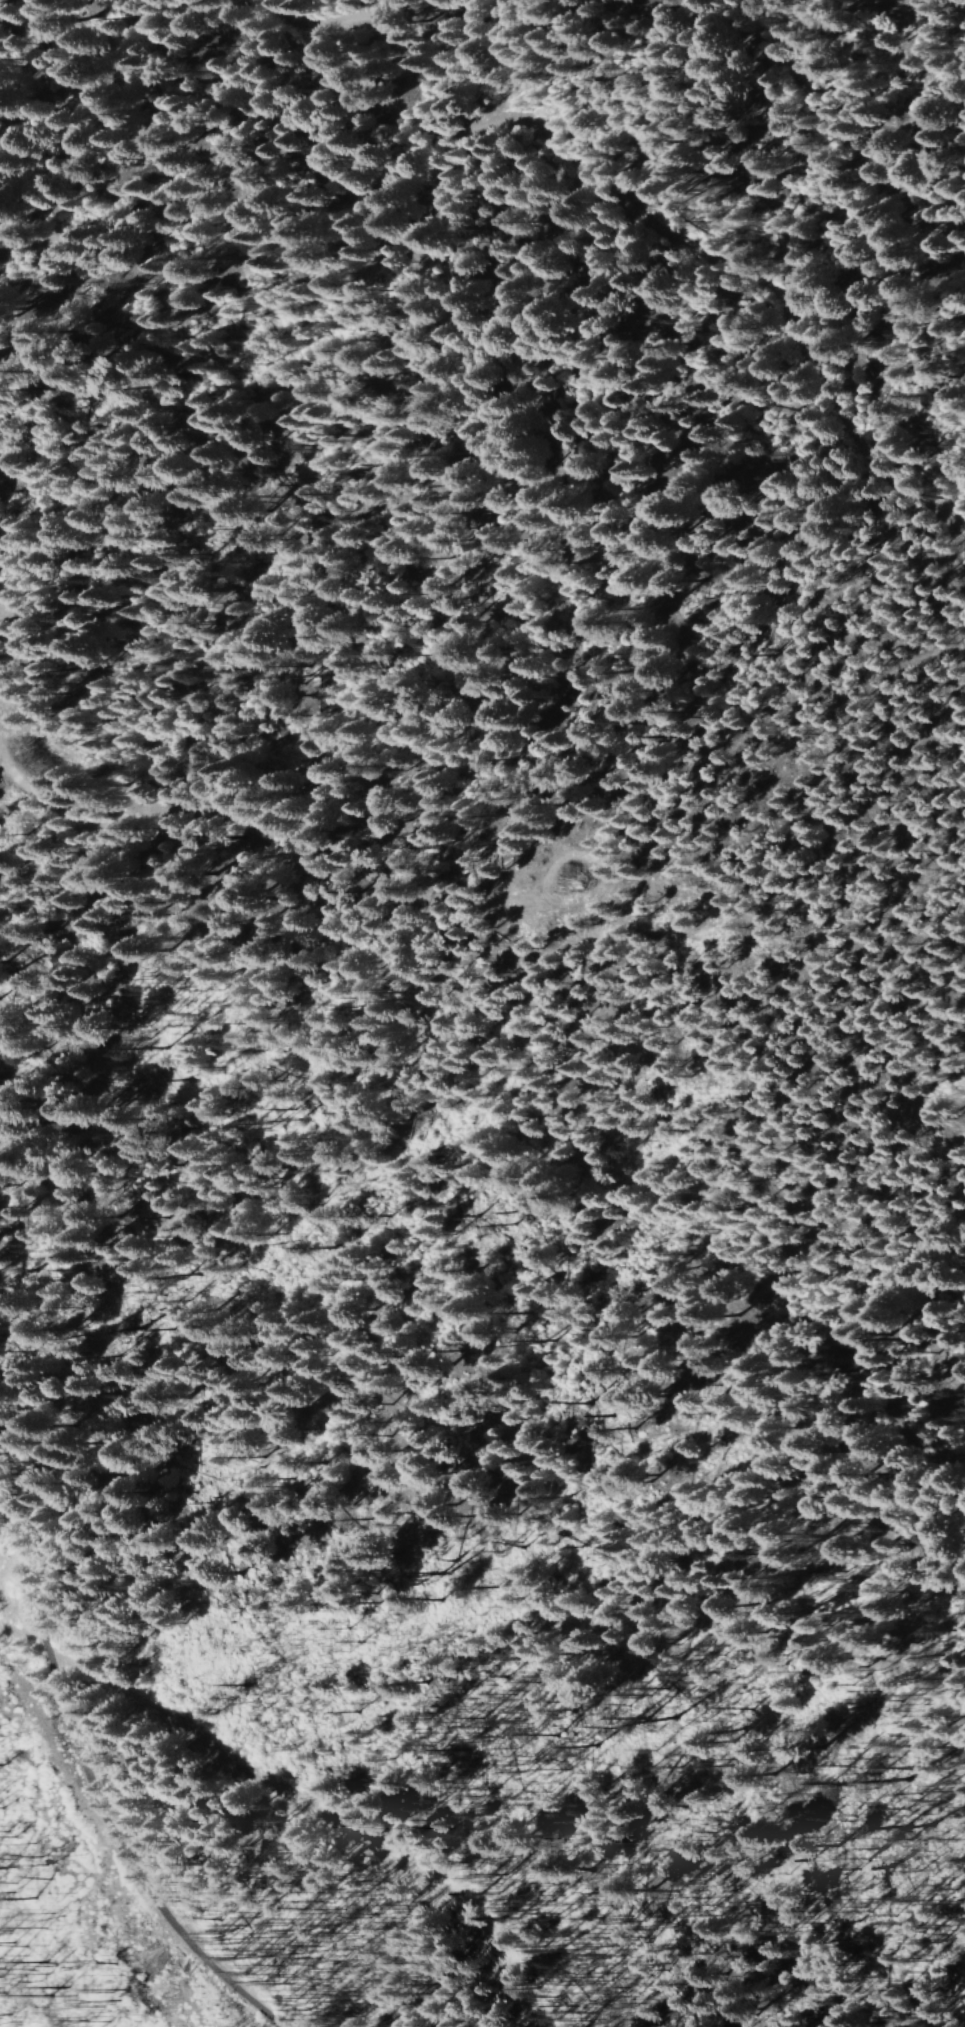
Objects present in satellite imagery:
road: (628, 254)
road: (150, 837)
road: (110, 1743)

